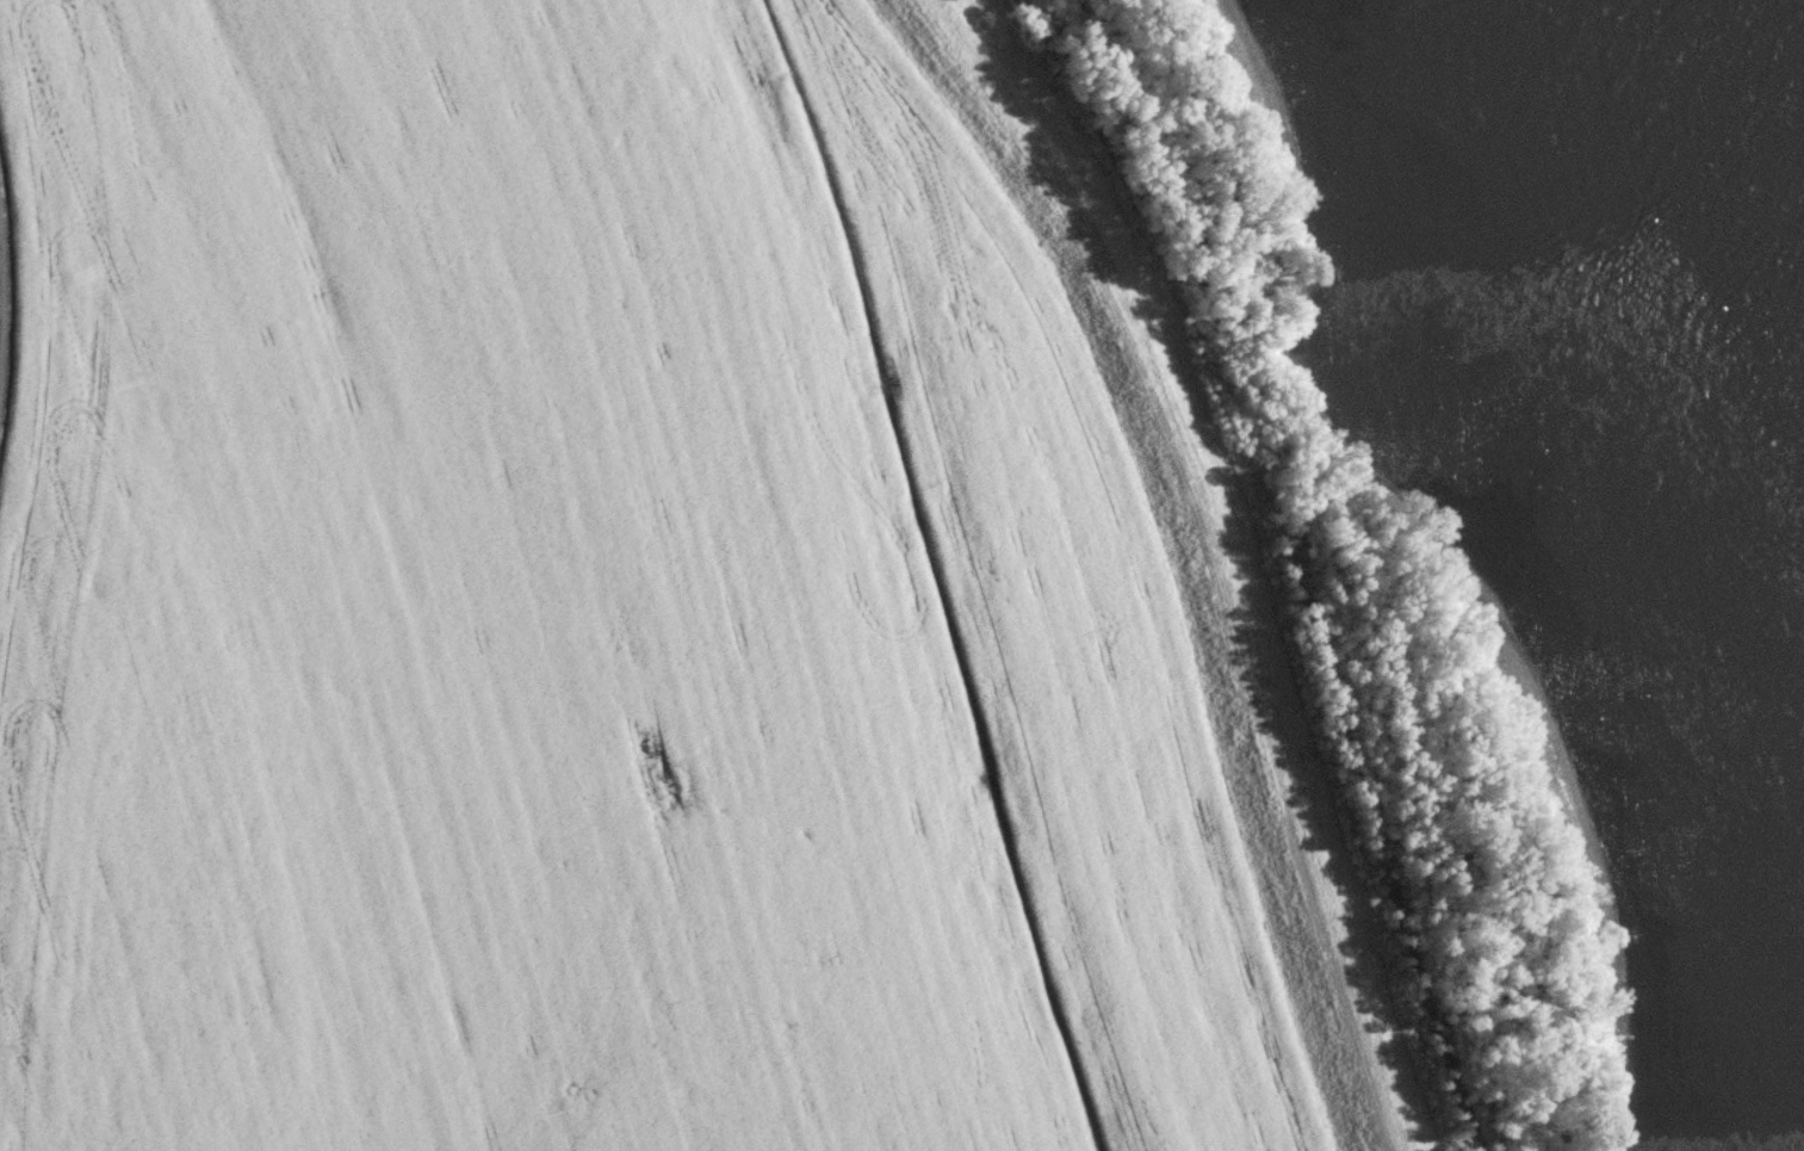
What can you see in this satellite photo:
river: (1735, 141)

